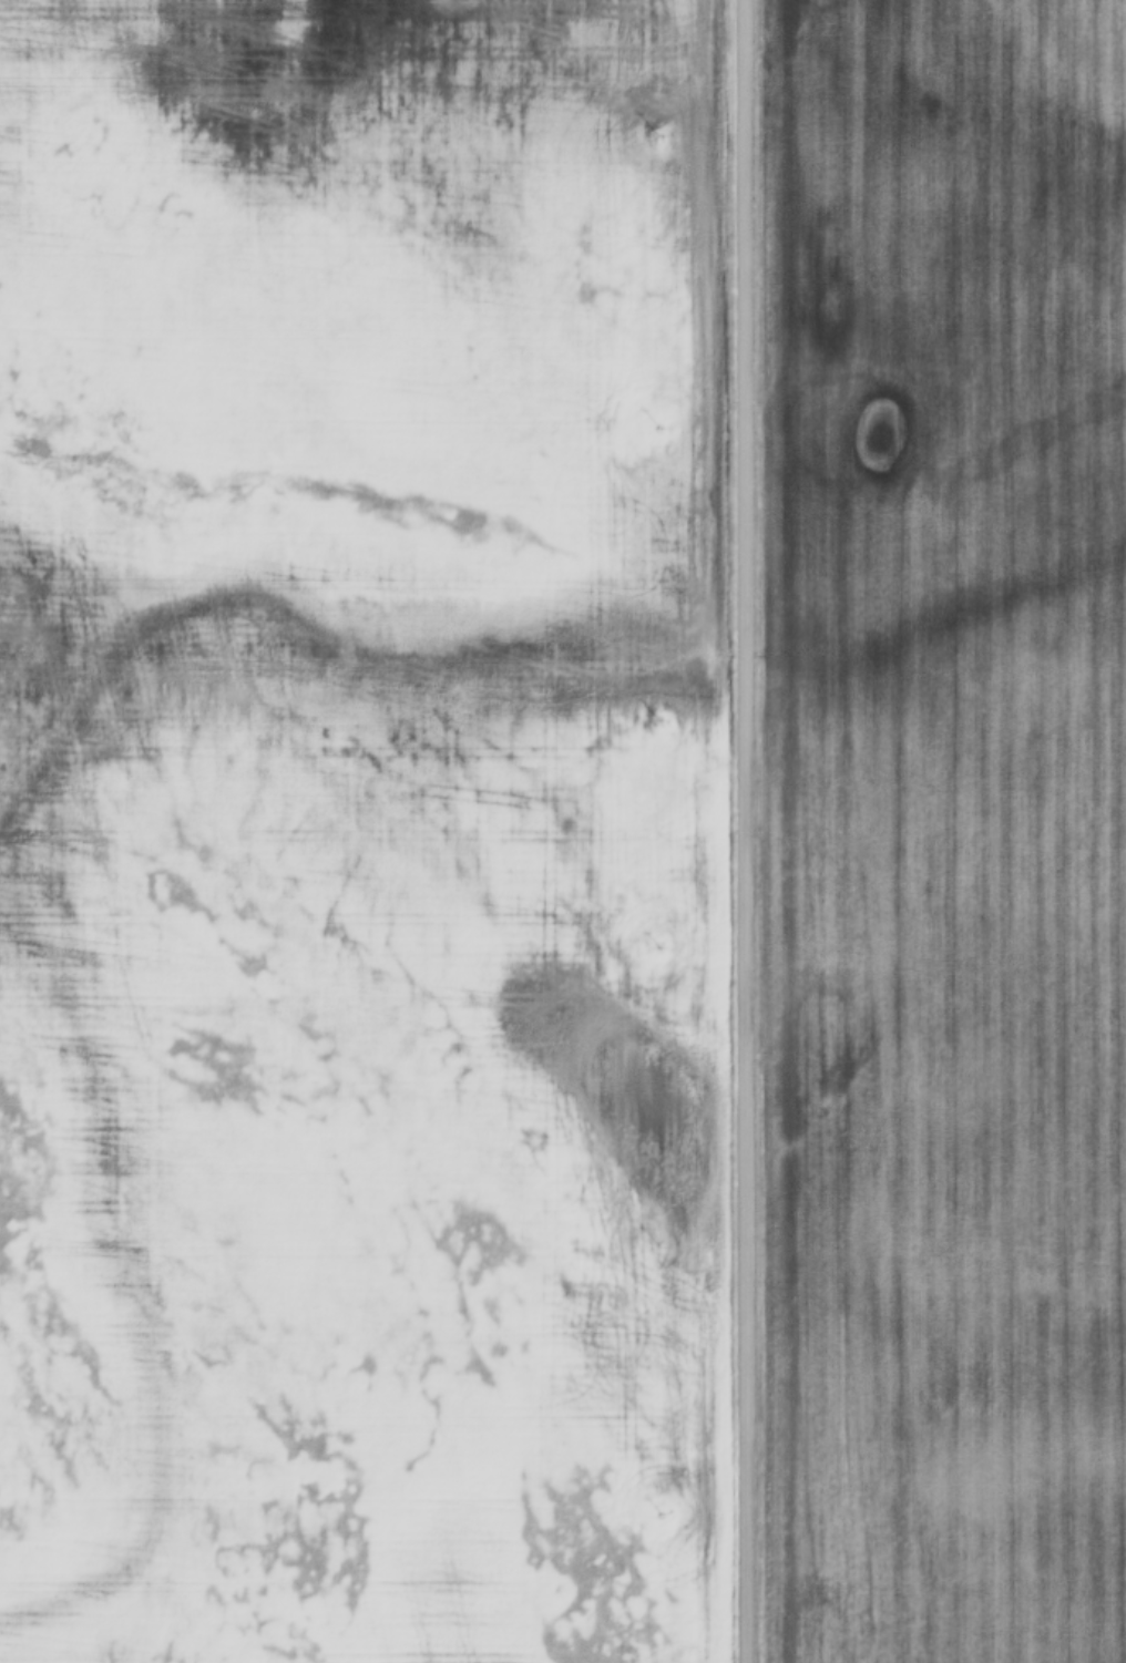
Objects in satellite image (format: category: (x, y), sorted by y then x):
road: (740, 831)

